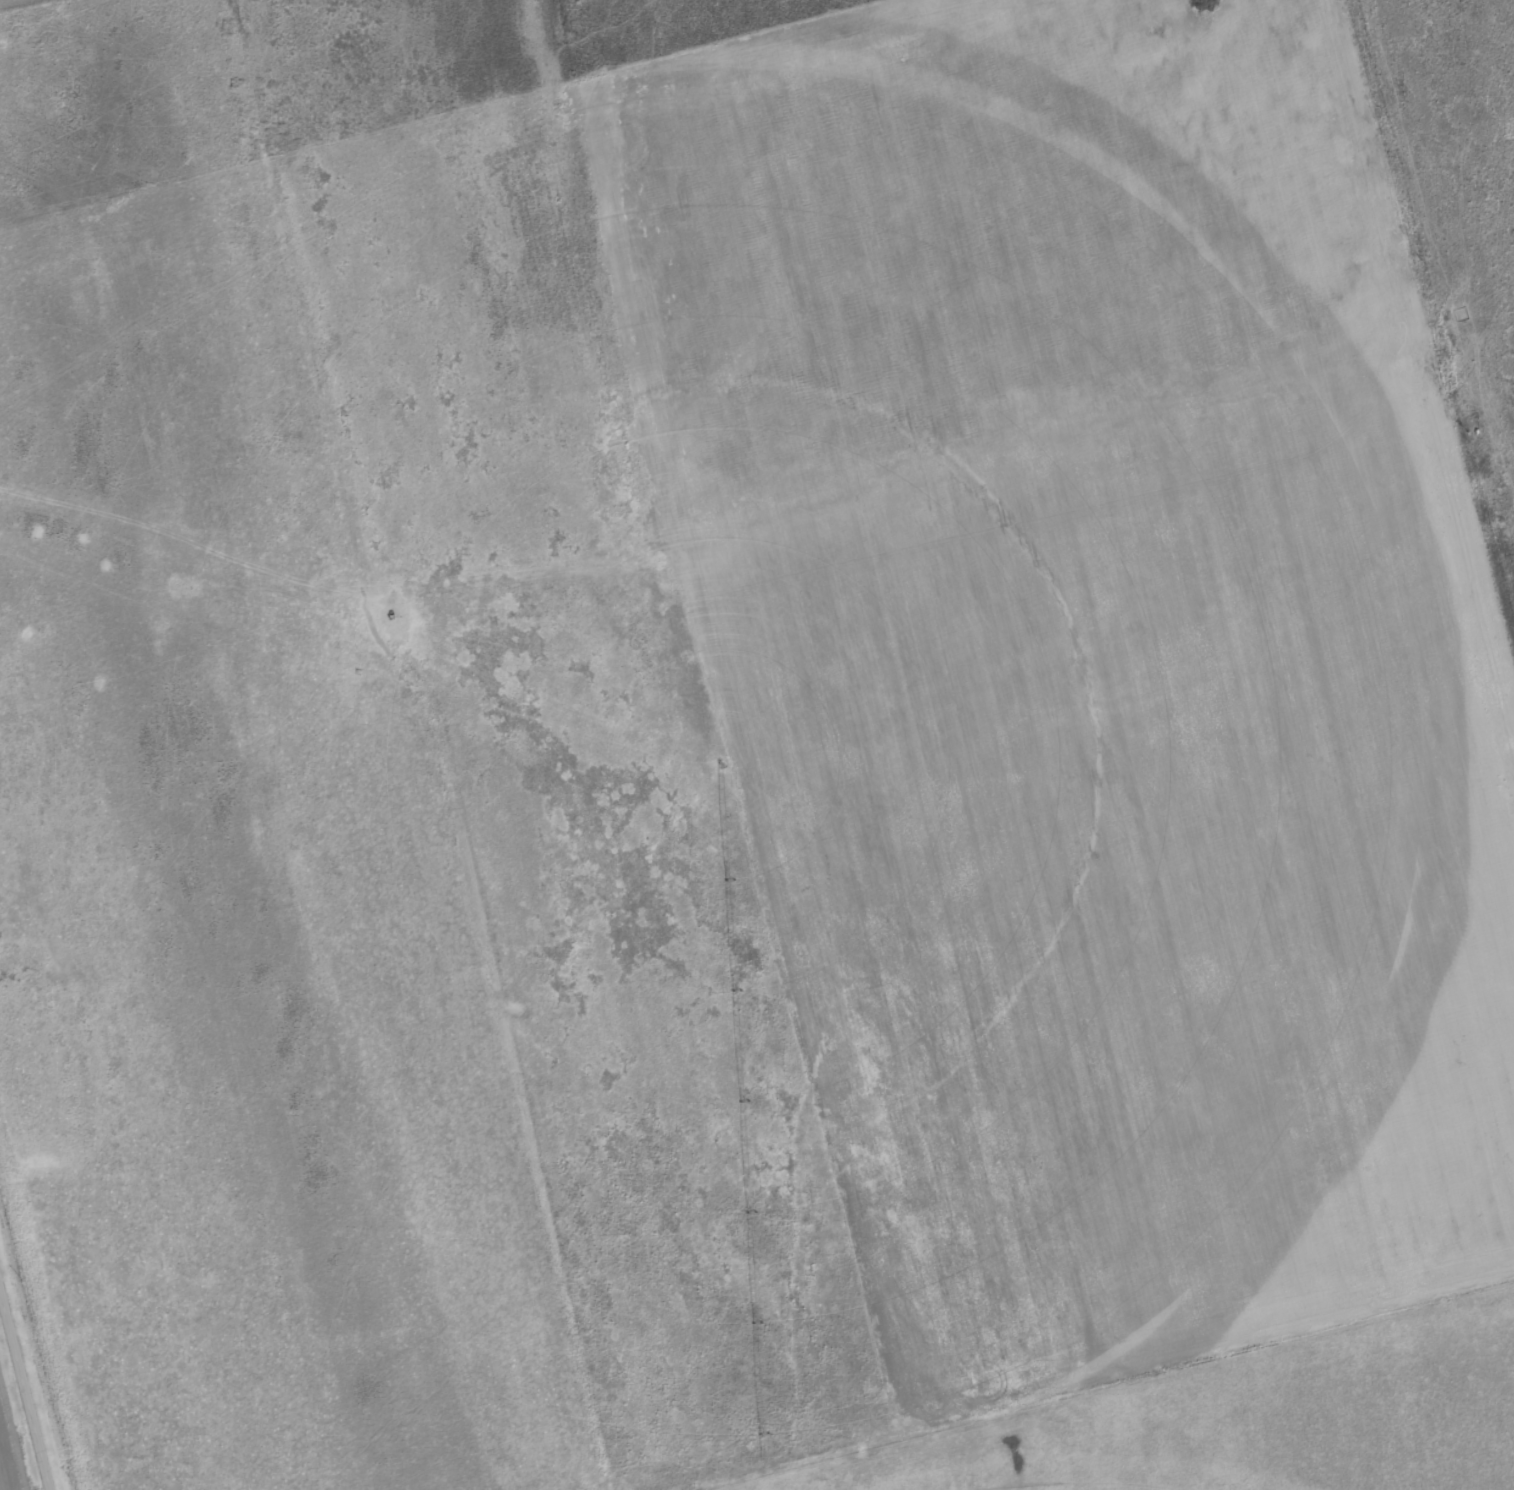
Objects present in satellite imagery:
road: (22, 1400)

